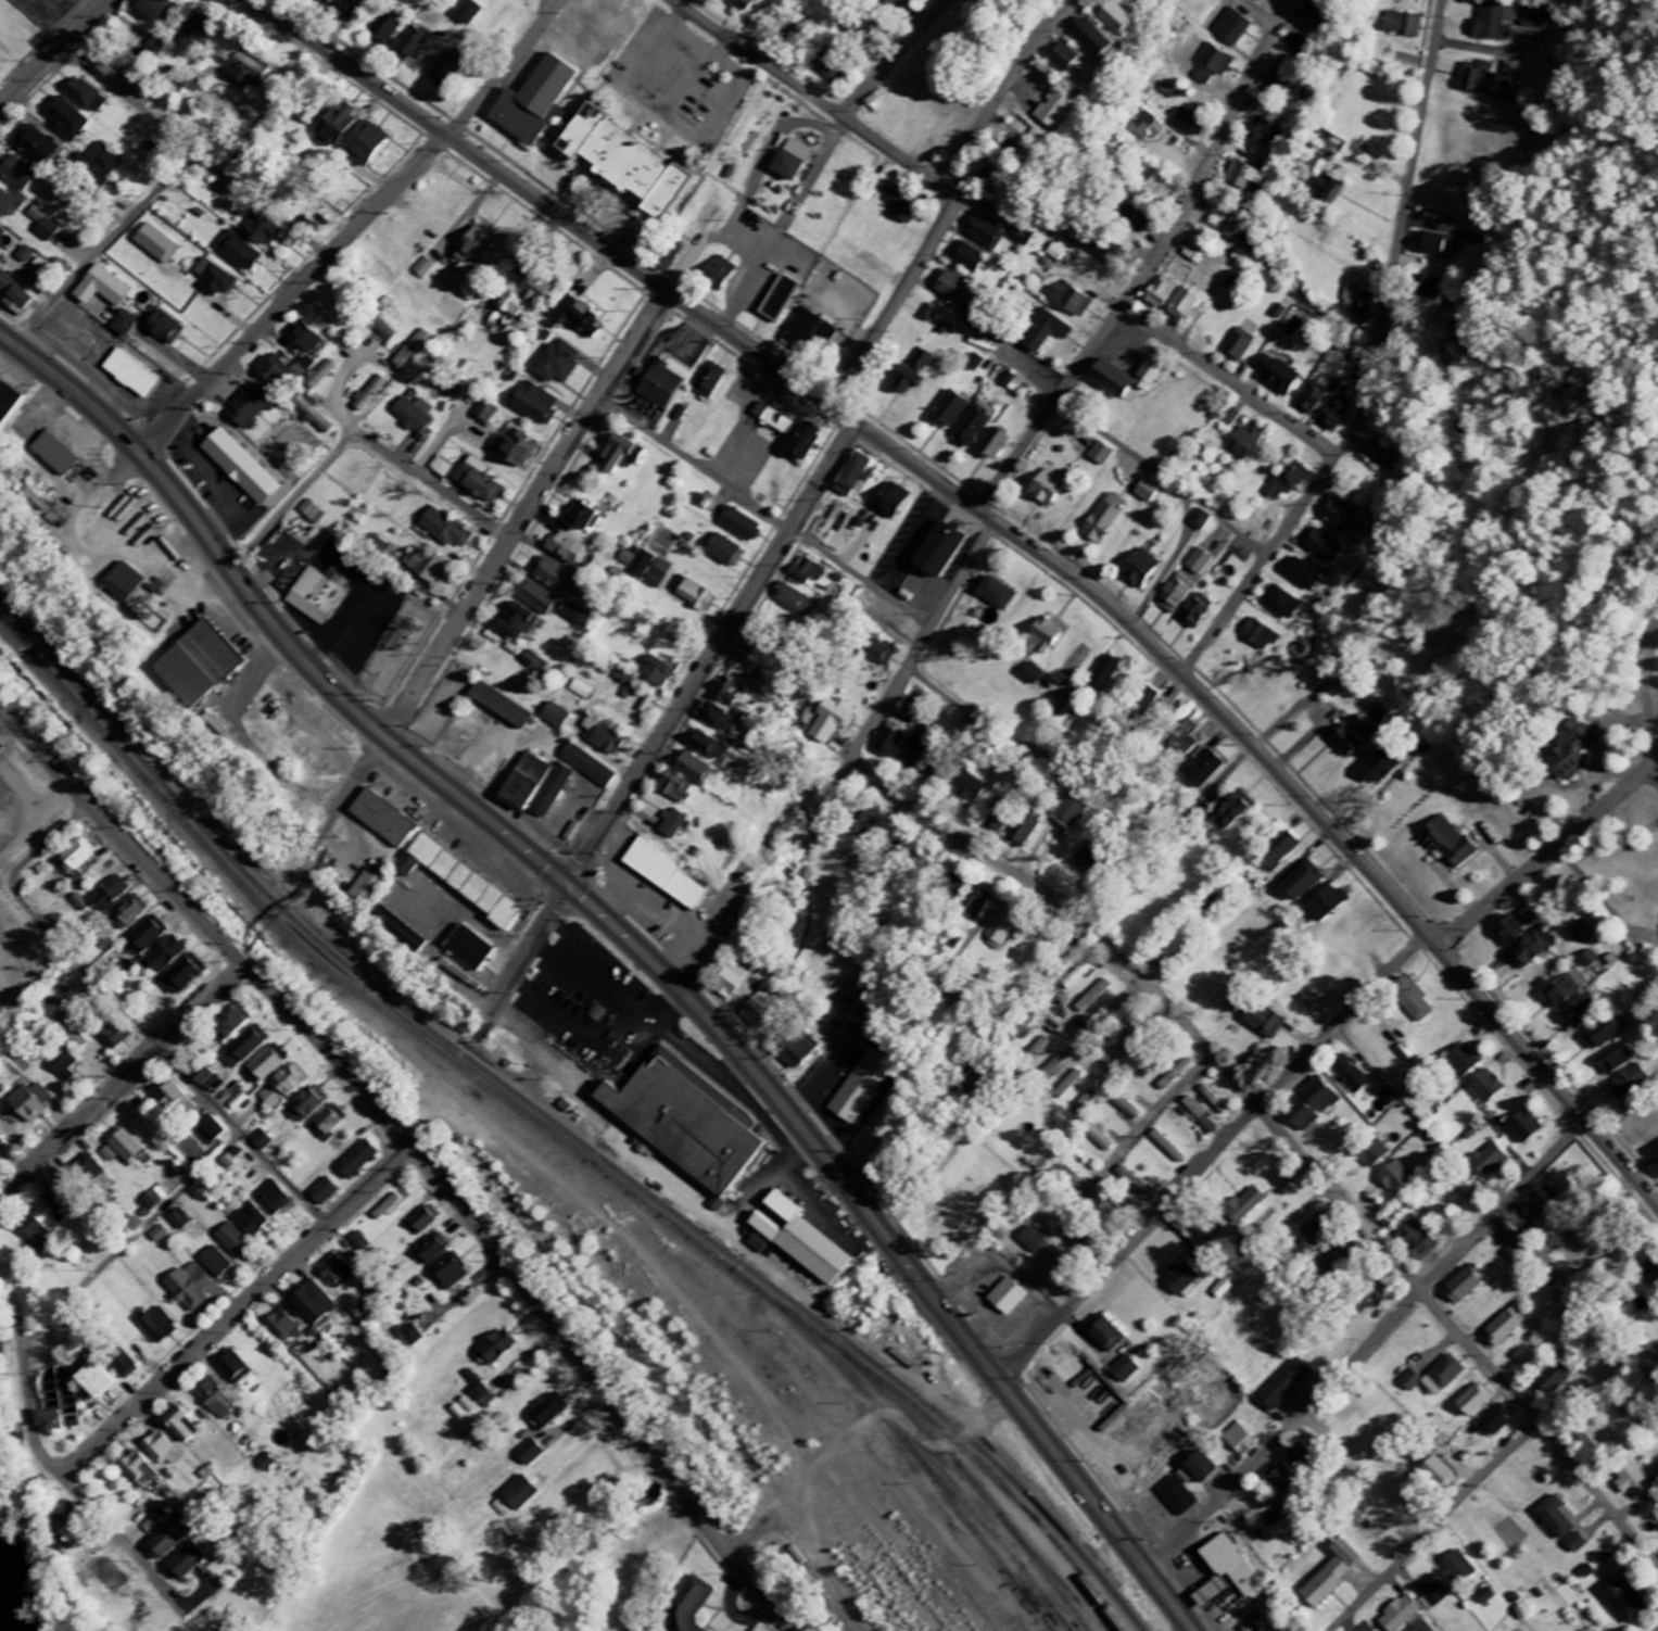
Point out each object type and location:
building: (1269, 0)
building: (330, 2)
building: (745, 3)
building: (898, 3)
building: (152, 9)
building: (1316, 12)
building: (469, 13)
road: (1261, 13)
building: (1111, 16)
building: (1537, 18)
building: (1498, 22)
building: (1403, 25)
building: (1232, 28)
building: (390, 29)
building: (195, 34)
building: (1087, 37)
building: (417, 42)
building: (1298, 43)
road: (55, 56)
road: (895, 58)
building: (1216, 60)
building: (1067, 62)
building: (246, 69)
building: (446, 69)
road: (505, 69)
building: (1511, 69)
building: (834, 75)
building: (1476, 77)
building: (1205, 78)
building: (1284, 83)
road: (810, 94)
building: (85, 97)
building: (1052, 109)
building: (312, 113)
building: (66, 121)
building: (1190, 123)
building: (1149, 127)
building: (1267, 135)
building: (351, 138)
road: (195, 155)
building: (28, 159)
building: (792, 161)
building: (622, 163)
building: (97, 168)
building: (1246, 177)
building: (1163, 188)
building: (1329, 190)
road: (948, 197)
building: (11, 203)
road: (777, 220)
building: (1138, 222)
building: (45, 226)
building: (1239, 228)
building: (263, 230)
building: (1, 232)
building: (986, 232)
building: (1022, 236)
building: (1475, 240)
building: (157, 244)
building: (1441, 245)
road: (101, 246)
building: (239, 252)
building: (474, 252)
building: (1198, 252)
building: (25, 255)
building: (967, 257)
road: (1151, 266)
building: (425, 269)
building: (37, 273)
building: (720, 274)
building: (214, 278)
building: (1431, 287)
building: (100, 288)
building: (954, 290)
building: (526, 292)
building: (1163, 293)
road: (294, 295)
building: (14, 296)
building: (779, 300)
building: (1071, 300)
building: (1358, 306)
building: (1186, 307)
building: (928, 314)
building: (583, 319)
building: (125, 325)
building: (163, 327)
building: (383, 329)
building: (810, 331)
building: (1048, 333)
building: (305, 338)
building: (1239, 346)
building: (404, 358)
building: (308, 364)
building: (559, 364)
building: (976, 364)
road: (1378, 364)
building: (275, 371)
building: (912, 372)
building: (130, 374)
building: (1278, 376)
building: (1126, 378)
building: (710, 381)
road: (1229, 383)
building: (660, 384)
building: (1012, 384)
building: (370, 394)
building: (1314, 397)
building: (8, 404)
building: (537, 405)
building: (251, 408)
building: (948, 412)
building: (488, 413)
building: (683, 414)
building: (1337, 414)
building: (315, 415)
building: (415, 415)
building: (1232, 418)
building: (773, 419)
building: (60, 426)
building: (971, 429)
road: (359, 435)
building: (802, 442)
building: (1246, 443)
building: (993, 446)
building: (517, 450)
road: (1179, 453)
building: (1385, 454)
building: (54, 455)
building: (1103, 455)
building: (617, 456)
building: (638, 456)
building: (240, 467)
building: (443, 468)
building: (852, 476)
building: (1291, 480)
building: (478, 483)
building: (1047, 489)
building: (1149, 492)
building: (700, 501)
building: (889, 503)
road: (767, 514)
road: (1485, 514)
building: (1341, 516)
building: (585, 518)
building: (1105, 520)
building: (1203, 520)
building: (739, 526)
building: (446, 530)
road: (1011, 535)
road: (910, 539)
building: (1325, 546)
building: (567, 551)
building: (725, 552)
building: (937, 552)
building: (1202, 562)
road: (496, 565)
building: (427, 568)
building: (648, 568)
building: (1141, 569)
building: (806, 572)
building: (1305, 576)
building: (558, 579)
building: (125, 583)
building: (1178, 594)
building: (694, 595)
building: (995, 595)
building: (318, 596)
building: (537, 597)
building: (792, 602)
building: (1283, 604)
building: (1198, 612)
building: (580, 616)
building: (519, 623)
road: (934, 623)
building: (1261, 636)
building: (1041, 639)
building: (879, 654)
building: (536, 662)
building: (198, 667)
building: (657, 673)
building: (1031, 674)
building: (621, 677)
building: (1101, 679)
building: (583, 691)
building: (629, 693)
building: (730, 693)
building: (1148, 701)
building: (502, 706)
building: (721, 719)
building: (833, 721)
road: (662, 736)
building: (1354, 736)
building: (605, 738)
building: (1189, 739)
building: (889, 742)
road: (864, 743)
building: (917, 745)
building: (709, 747)
building: (1575, 754)
building: (588, 767)
road: (1655, 768)
building: (1205, 769)
building: (1381, 769)
building: (694, 770)
road: (845, 775)
building: (541, 784)
building: (676, 788)
road: (834, 788)
building: (969, 788)
building: (1233, 812)
road: (1598, 813)
building: (1070, 814)
building: (383, 820)
building: (675, 825)
building: (865, 825)
building: (1024, 833)
building: (1454, 842)
building: (1283, 852)
building: (80, 857)
building: (667, 874)
building: (460, 882)
building: (1304, 883)
building: (366, 887)
building: (107, 897)
building: (1329, 905)
building: (974, 907)
building: (132, 914)
building: (1531, 916)
building: (1001, 930)
building: (400, 932)
building: (1509, 932)
building: (151, 937)
road: (635, 945)
building: (1179, 947)
building: (1537, 948)
building: (470, 949)
building: (169, 956)
building: (1592, 960)
building: (1580, 975)
building: (1079, 977)
building: (186, 978)
building: (732, 981)
building: (1565, 994)
building: (1096, 997)
building: (1414, 999)
building: (761, 1007)
building: (1582, 1011)
road: (132, 1015)
building: (1266, 1022)
building: (231, 1025)
building: (1129, 1033)
building: (1609, 1034)
building: (118, 1036)
building: (81, 1040)
building: (248, 1049)
building: (800, 1052)
building: (1408, 1053)
building: (1618, 1061)
building: (1466, 1062)
building: (268, 1065)
building: (66, 1066)
building: (1058, 1067)
building: (1176, 1075)
building: (1354, 1075)
building: (208, 1080)
road: (122, 1084)
building: (1632, 1084)
building: (1071, 1086)
building: (286, 1087)
building: (863, 1087)
building: (1490, 1088)
building: (1324, 1097)
building: (1392, 1098)
building: (1215, 1101)
building: (1, 1103)
building: (30, 1105)
railway: (451, 1105)
building: (1085, 1105)
building: (307, 1107)
building: (1128, 1108)
building: (1204, 1117)
building: (1304, 1117)
building: (330, 1123)
building: (687, 1124)
building: (1527, 1128)
building: (213, 1130)
road: (1284, 1131)
road: (1138, 1136)
building: (1102, 1139)
building: (265, 1141)
building: (1168, 1148)
road: (414, 1150)
building: (1377, 1153)
road: (1212, 1156)
building: (357, 1162)
building: (1492, 1162)
building: (88, 1173)
building: (1397, 1178)
building: (1134, 1185)
building: (324, 1193)
building: (275, 1200)
building: (1246, 1208)
building: (1539, 1208)
building: (387, 1209)
building: (182, 1221)
building: (422, 1221)
building: (253, 1222)
building: (161, 1235)
road: (131, 1238)
building: (232, 1240)
building: (1034, 1240)
building: (1418, 1240)
building: (802, 1241)
building: (359, 1242)
building: (431, 1250)
building: (1515, 1253)
building: (1344, 1254)
building: (217, 1263)
building: (334, 1273)
building: (450, 1275)
road: (1358, 1276)
building: (1181, 1280)
building: (1225, 1285)
building: (1467, 1285)
building: (190, 1288)
railway: (764, 1291)
building: (1008, 1297)
building: (1375, 1299)
road: (237, 1311)
building: (301, 1312)
building: (159, 1325)
building: (1505, 1329)
building: (412, 1335)
building: (1106, 1335)
road: (1368, 1348)
building: (496, 1349)
building: (123, 1364)
building: (231, 1365)
building: (1127, 1370)
building: (1438, 1377)
building: (94, 1381)
building: (1553, 1381)
building: (1287, 1385)
building: (215, 1399)
building: (1473, 1402)
building: (548, 1412)
building: (52, 1423)
building: (1498, 1423)
building: (177, 1427)
building: (1599, 1437)
building: (1239, 1440)
building: (161, 1450)
building: (530, 1453)
building: (1301, 1458)
building: (1199, 1466)
building: (139, 1470)
railway: (915, 1471)
building: (1440, 1472)
building: (1280, 1478)
road: (66, 1479)
building: (1634, 1480)
building: (1177, 1496)
building: (515, 1497)
building: (1274, 1517)
building: (1557, 1518)
road: (1438, 1526)
building: (153, 1528)
building: (164, 1543)
building: (1579, 1543)
building: (186, 1560)
building: (1461, 1567)
building: (1227, 1571)
building: (1332, 1573)
building: (1435, 1591)
building: (1489, 1597)
building: (1625, 1602)
building: (691, 1605)
building: (1402, 1614)

